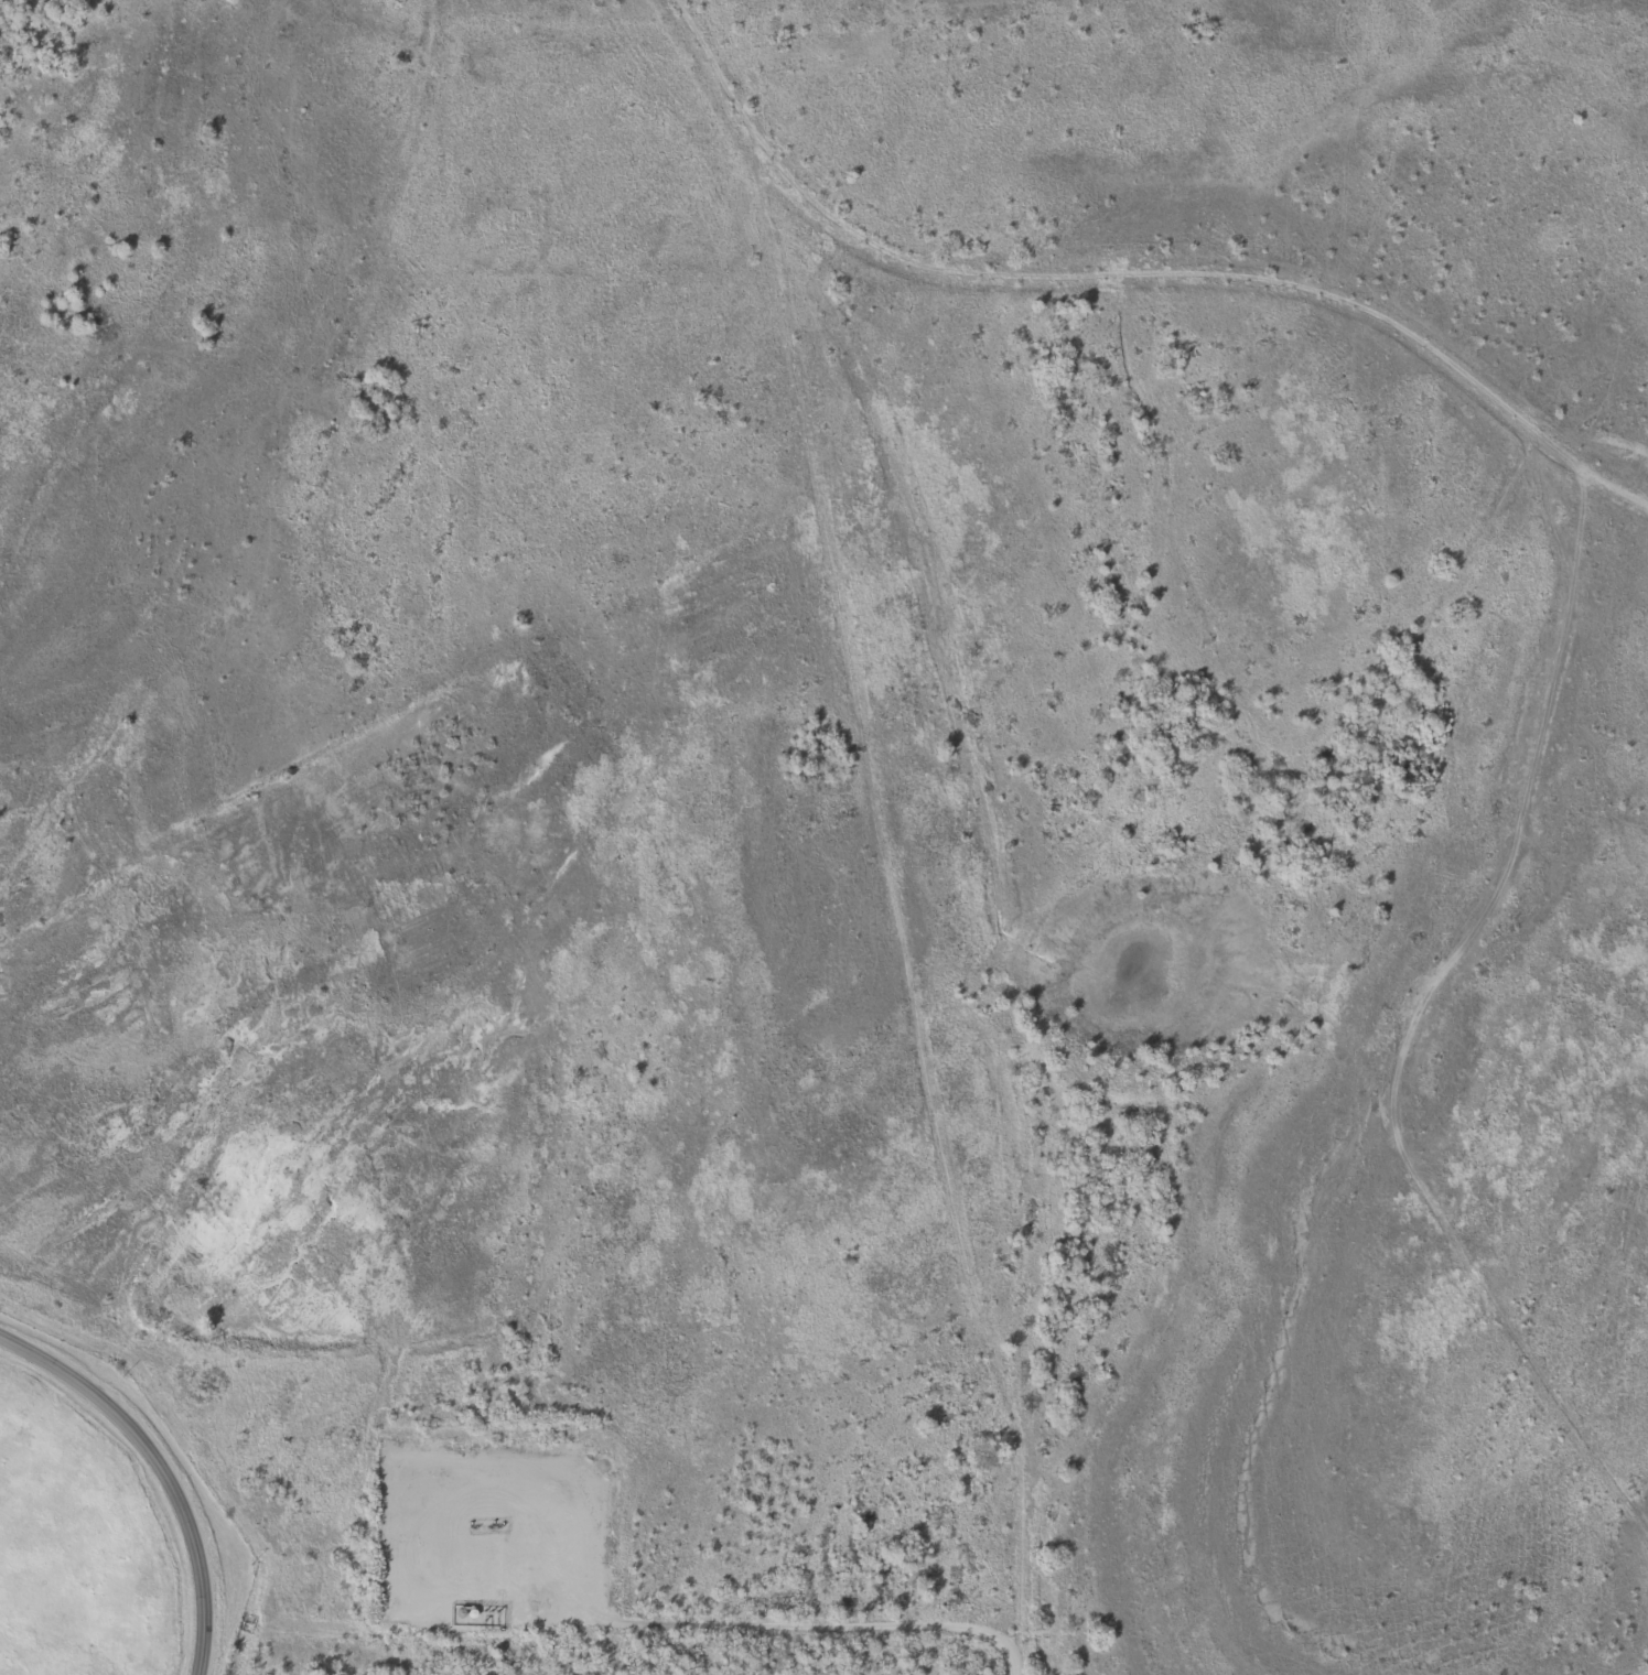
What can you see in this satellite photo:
road: (1132, 278)
road: (170, 1458)

